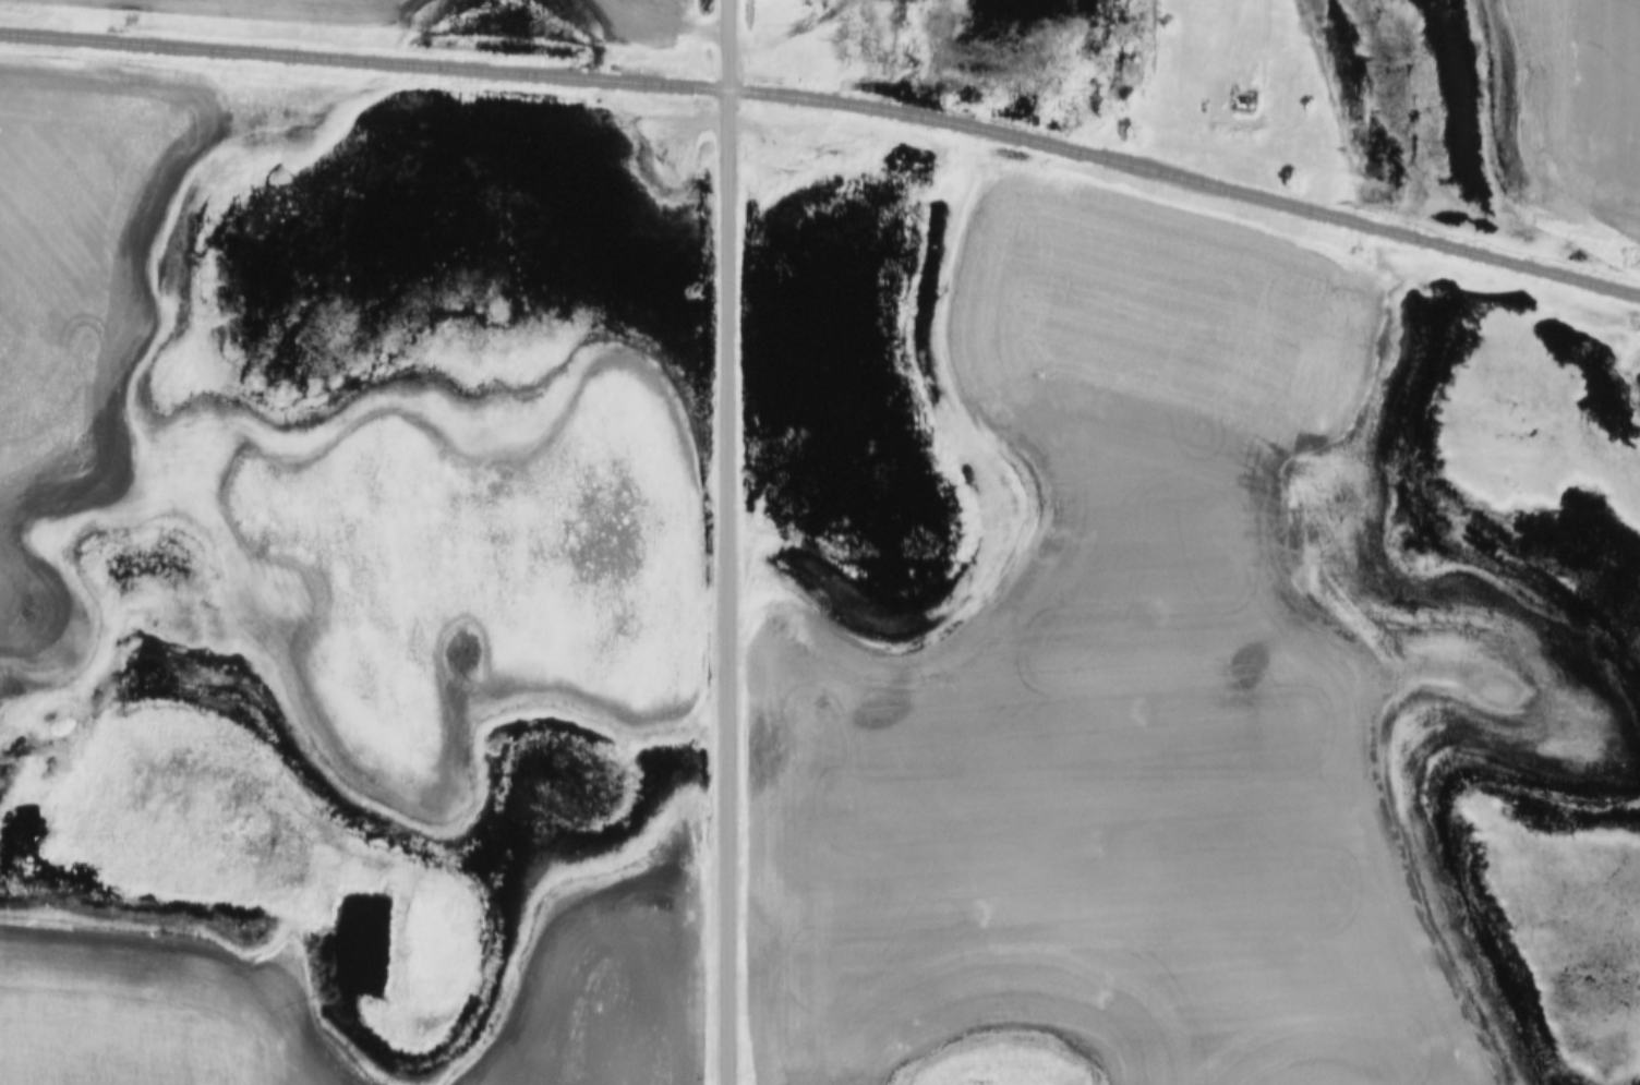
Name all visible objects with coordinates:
railway: (830, 103)
road: (727, 542)

